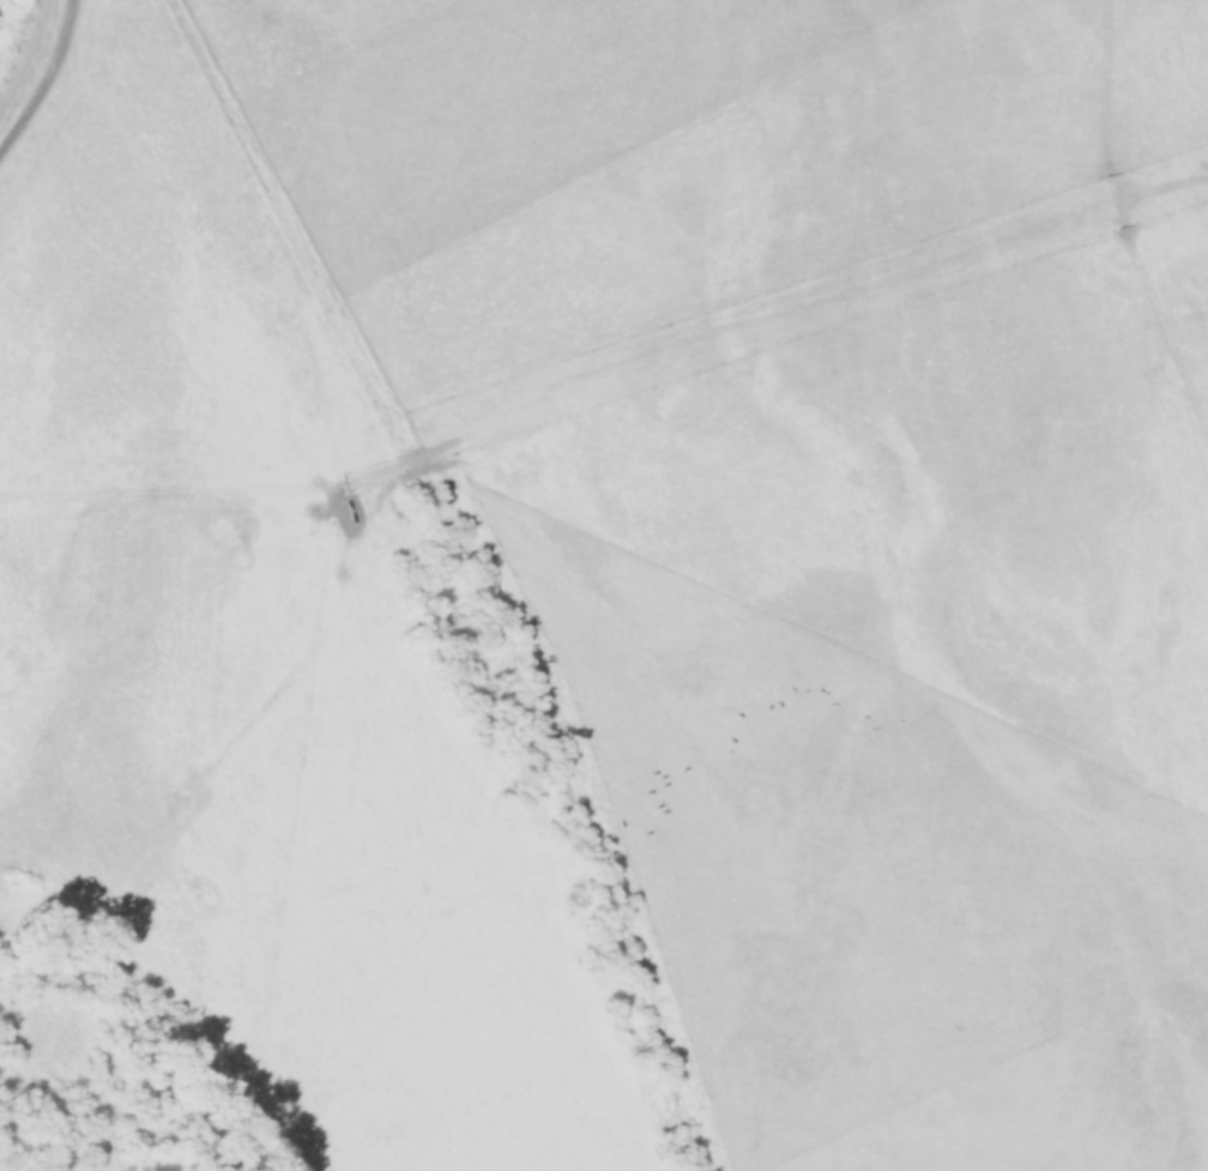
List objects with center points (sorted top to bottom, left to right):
road: (44, 80)

